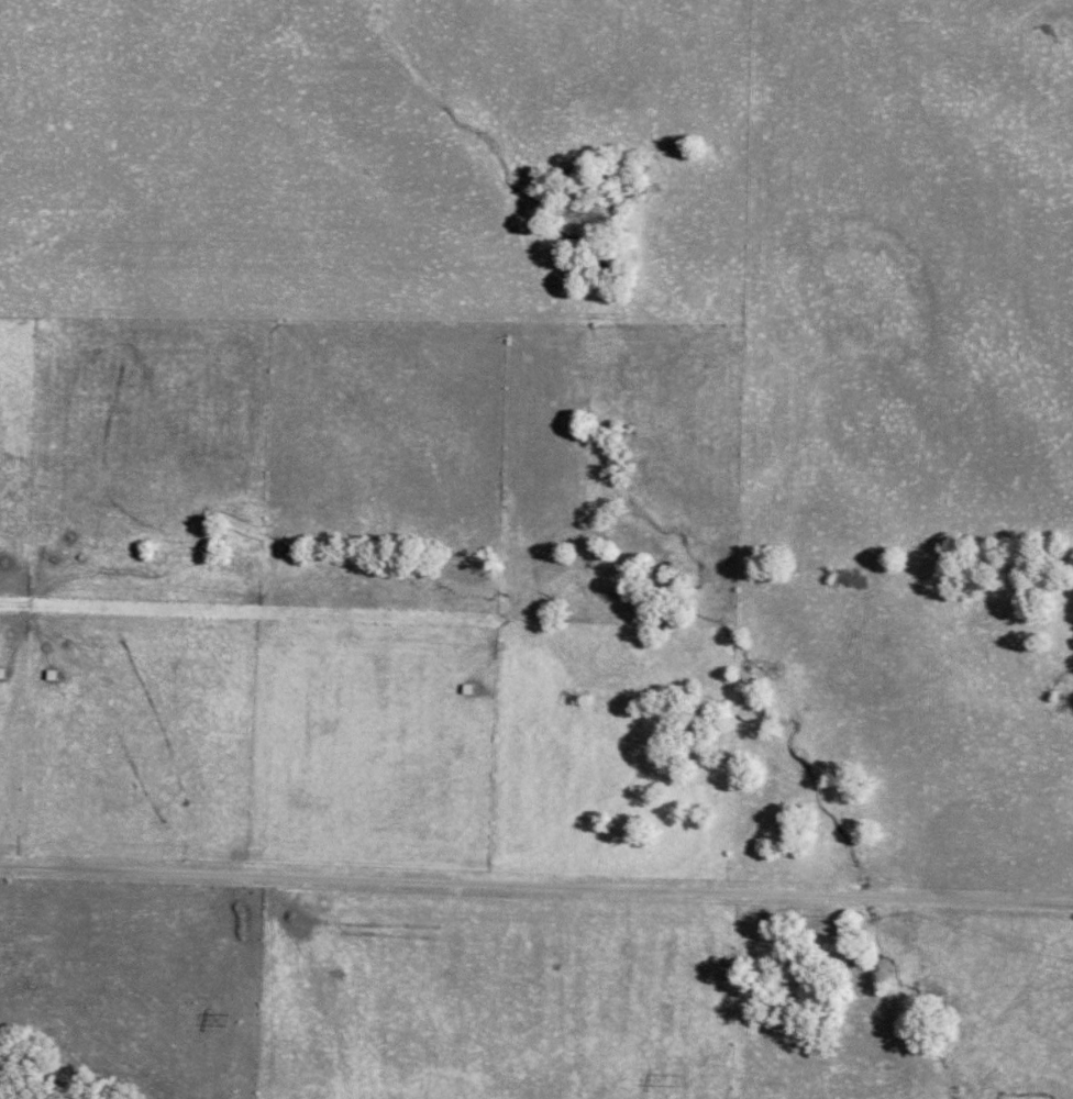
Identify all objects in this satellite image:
road: (535, 884)
power tower: (240, 1018)
power tower: (688, 1077)

